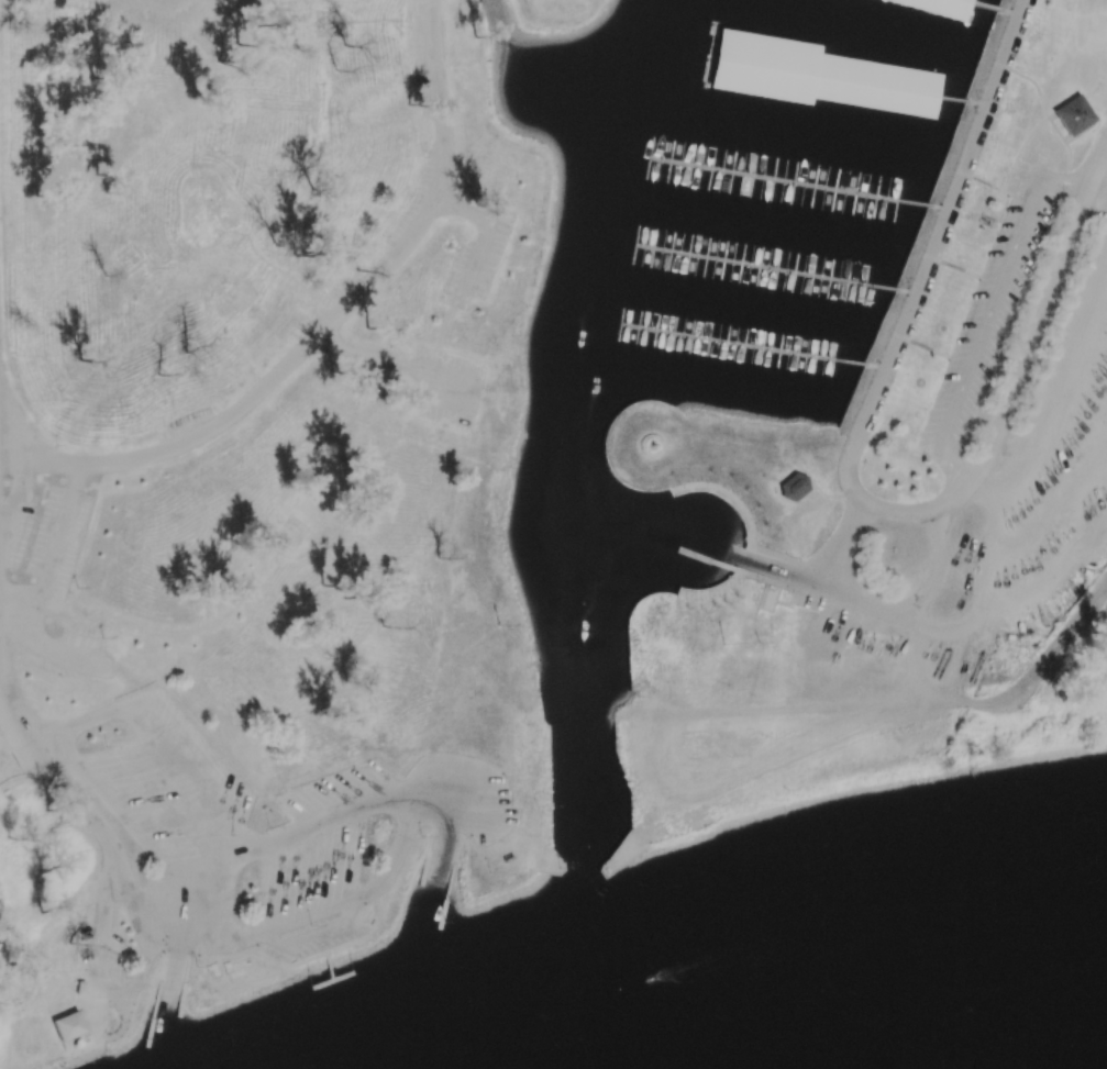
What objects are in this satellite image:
road: (984, 5)
building: (943, 7)
road: (1010, 13)
road: (370, 21)
park: (206, 38)
parking lot: (418, 46)
building: (766, 53)
road: (843, 71)
building: (877, 80)
road: (1032, 82)
road: (978, 104)
building: (1071, 116)
road: (1053, 131)
road: (1080, 135)
road: (1019, 152)
road: (1067, 163)
road: (1098, 165)
road: (791, 176)
road: (983, 183)
road: (1098, 186)
park: (280, 189)
parking lot: (416, 203)
road: (940, 209)
road: (461, 210)
road: (231, 231)
road: (933, 255)
road: (475, 263)
parking lot: (477, 263)
road: (768, 264)
road: (955, 268)
road: (256, 274)
road: (292, 281)
road: (909, 293)
building: (237, 294)
parking lot: (339, 297)
road: (353, 299)
parking lot: (989, 311)
road: (989, 315)
road: (1030, 338)
road: (748, 341)
road: (925, 347)
road: (381, 360)
road: (878, 368)
parking lot: (449, 388)
road: (446, 390)
road: (1064, 400)
parking lot: (190, 426)
road: (14, 436)
park: (516, 453)
road: (15, 455)
road: (56, 461)
road: (29, 467)
road: (77, 478)
road: (988, 497)
road: (949, 503)
road: (13, 514)
road: (897, 515)
road: (751, 526)
parking lot: (45, 533)
building: (290, 534)
road: (58, 542)
road: (841, 544)
road: (1, 550)
road: (997, 554)
road: (711, 561)
road: (937, 570)
road: (786, 589)
road: (830, 589)
road: (716, 594)
building: (768, 602)
road: (38, 604)
road: (976, 613)
road: (16, 615)
building: (86, 617)
building: (801, 619)
road: (937, 625)
road: (34, 626)
road: (173, 633)
road: (71, 654)
parking lot: (70, 656)
road: (1038, 664)
road: (945, 665)
road: (895, 704)
road: (742, 715)
road: (925, 735)
road: (740, 759)
road: (52, 768)
road: (436, 876)
road: (102, 924)
parking lot: (99, 945)
road: (144, 945)
road: (34, 947)
pier: (331, 966)
pier: (334, 979)
building: (82, 988)
road: (171, 996)
building: (71, 1026)
river: (994, 1031)
pier: (89, 1067)

